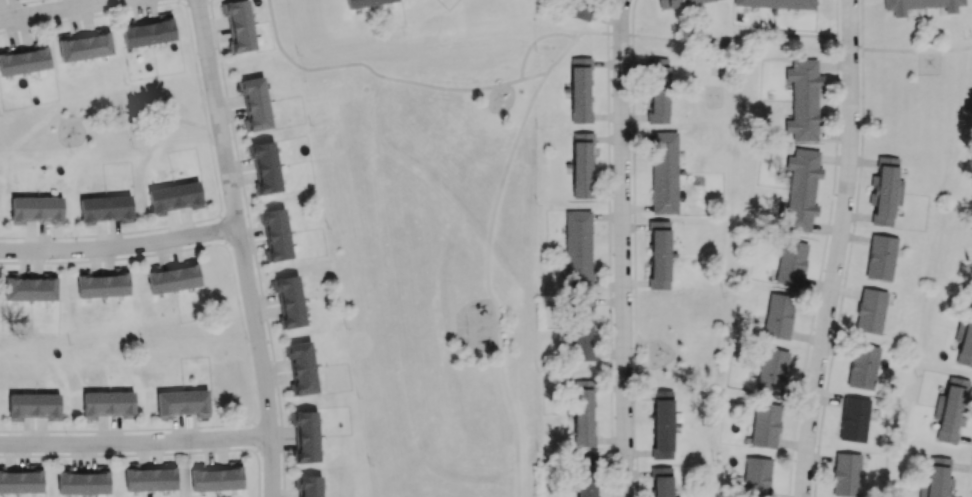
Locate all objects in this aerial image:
road: (178, 0)
building: (364, 2)
building: (680, 2)
road: (19, 3)
building: (777, 3)
road: (182, 4)
road: (198, 5)
building: (919, 5)
road: (55, 9)
building: (579, 9)
road: (607, 16)
road: (621, 19)
building: (238, 25)
building: (149, 32)
road: (591, 32)
road: (620, 33)
road: (734, 38)
road: (536, 40)
building: (84, 45)
road: (917, 50)
road: (563, 56)
building: (24, 60)
road: (220, 60)
road: (196, 67)
road: (372, 70)
road: (534, 75)
building: (579, 90)
building: (658, 91)
building: (803, 100)
building: (254, 103)
road: (133, 120)
road: (218, 124)
building: (265, 165)
building: (582, 165)
building: (663, 172)
building: (801, 189)
building: (884, 191)
building: (173, 197)
building: (105, 208)
building: (35, 209)
building: (277, 234)
road: (241, 247)
road: (120, 249)
building: (577, 249)
road: (838, 249)
road: (847, 249)
building: (659, 254)
building: (880, 257)
building: (790, 262)
road: (622, 268)
building: (172, 277)
road: (488, 281)
building: (101, 284)
building: (29, 287)
building: (289, 299)
road: (264, 308)
building: (870, 310)
building: (778, 315)
building: (582, 327)
building: (966, 339)
building: (862, 366)
building: (303, 368)
building: (771, 370)
building: (183, 402)
building: (106, 403)
building: (33, 405)
building: (952, 408)
building: (583, 413)
building: (853, 418)
building: (662, 423)
building: (765, 424)
building: (306, 434)
road: (135, 448)
building: (846, 474)
building: (586, 476)
building: (216, 477)
building: (756, 477)
building: (938, 477)
road: (969, 477)
building: (22, 480)
building: (83, 481)
building: (661, 481)
building: (310, 486)

